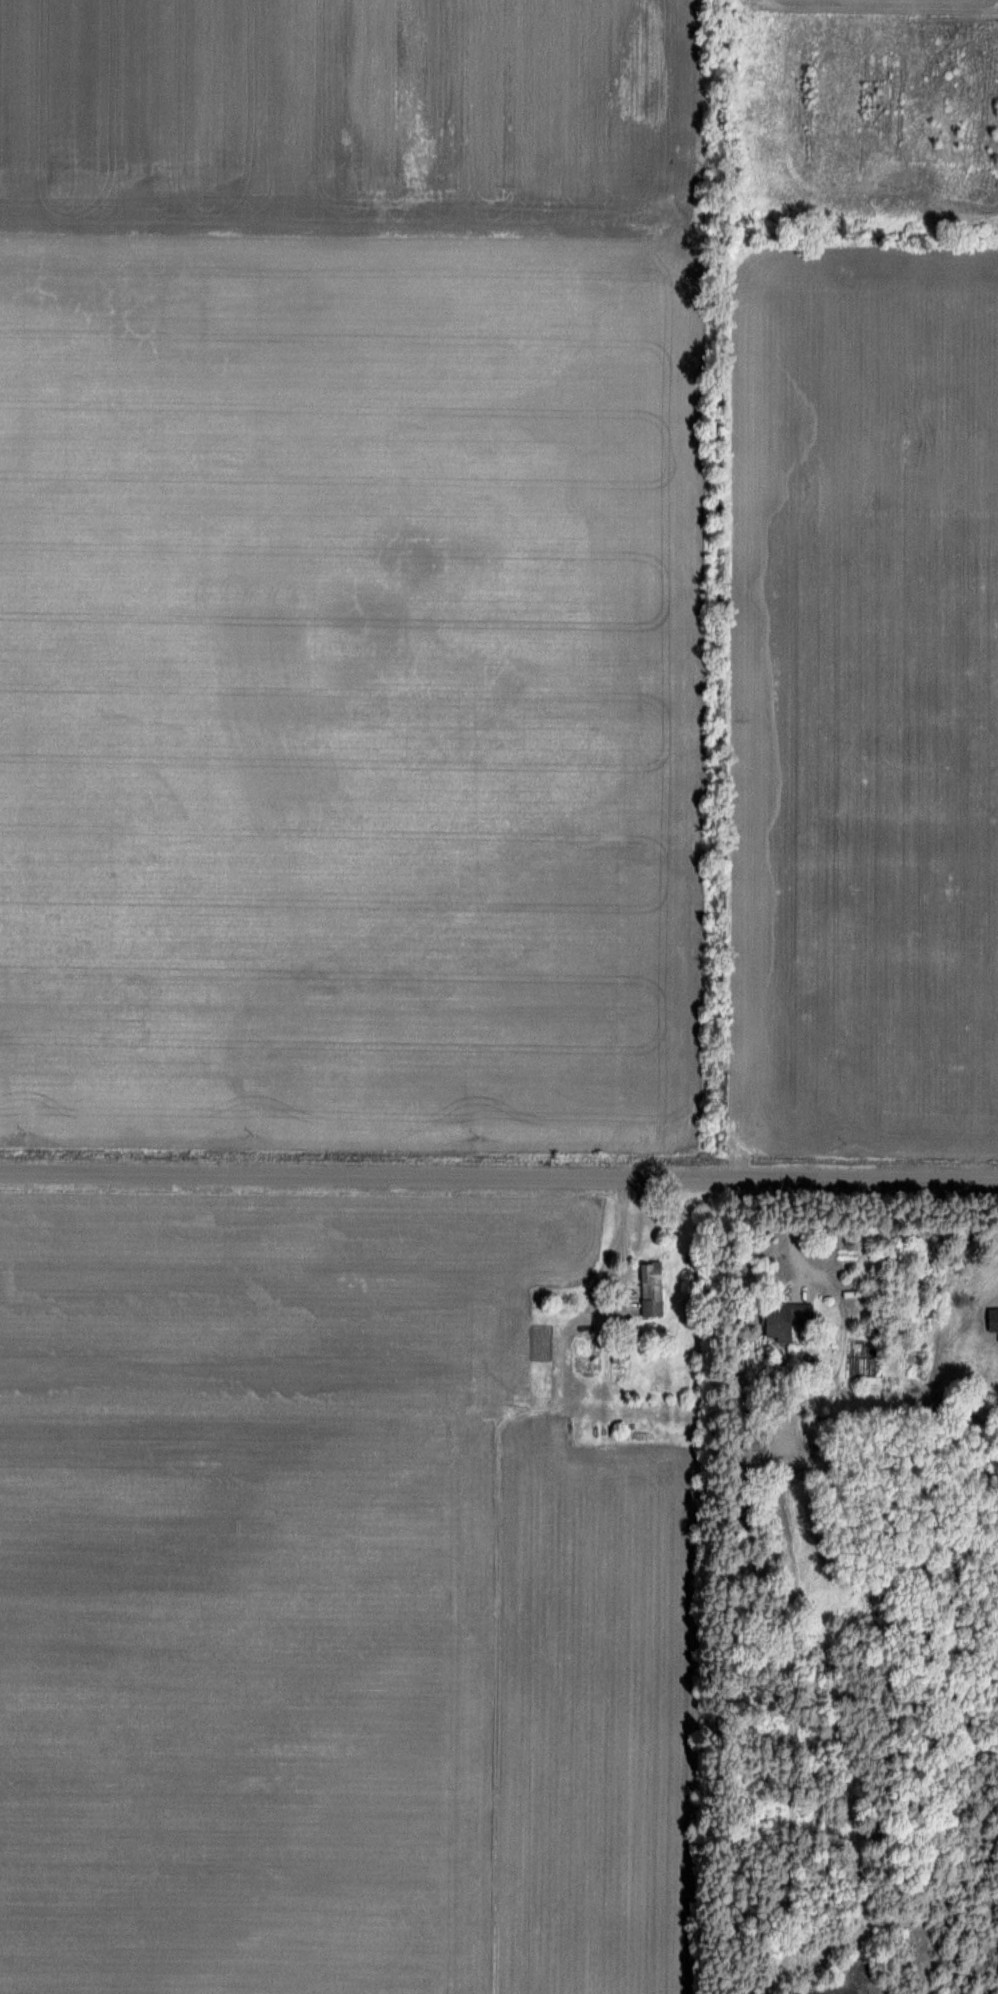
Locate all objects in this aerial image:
road: (499, 1178)
building: (651, 1288)
building: (782, 1318)
building: (992, 1319)
building: (752, 1448)

